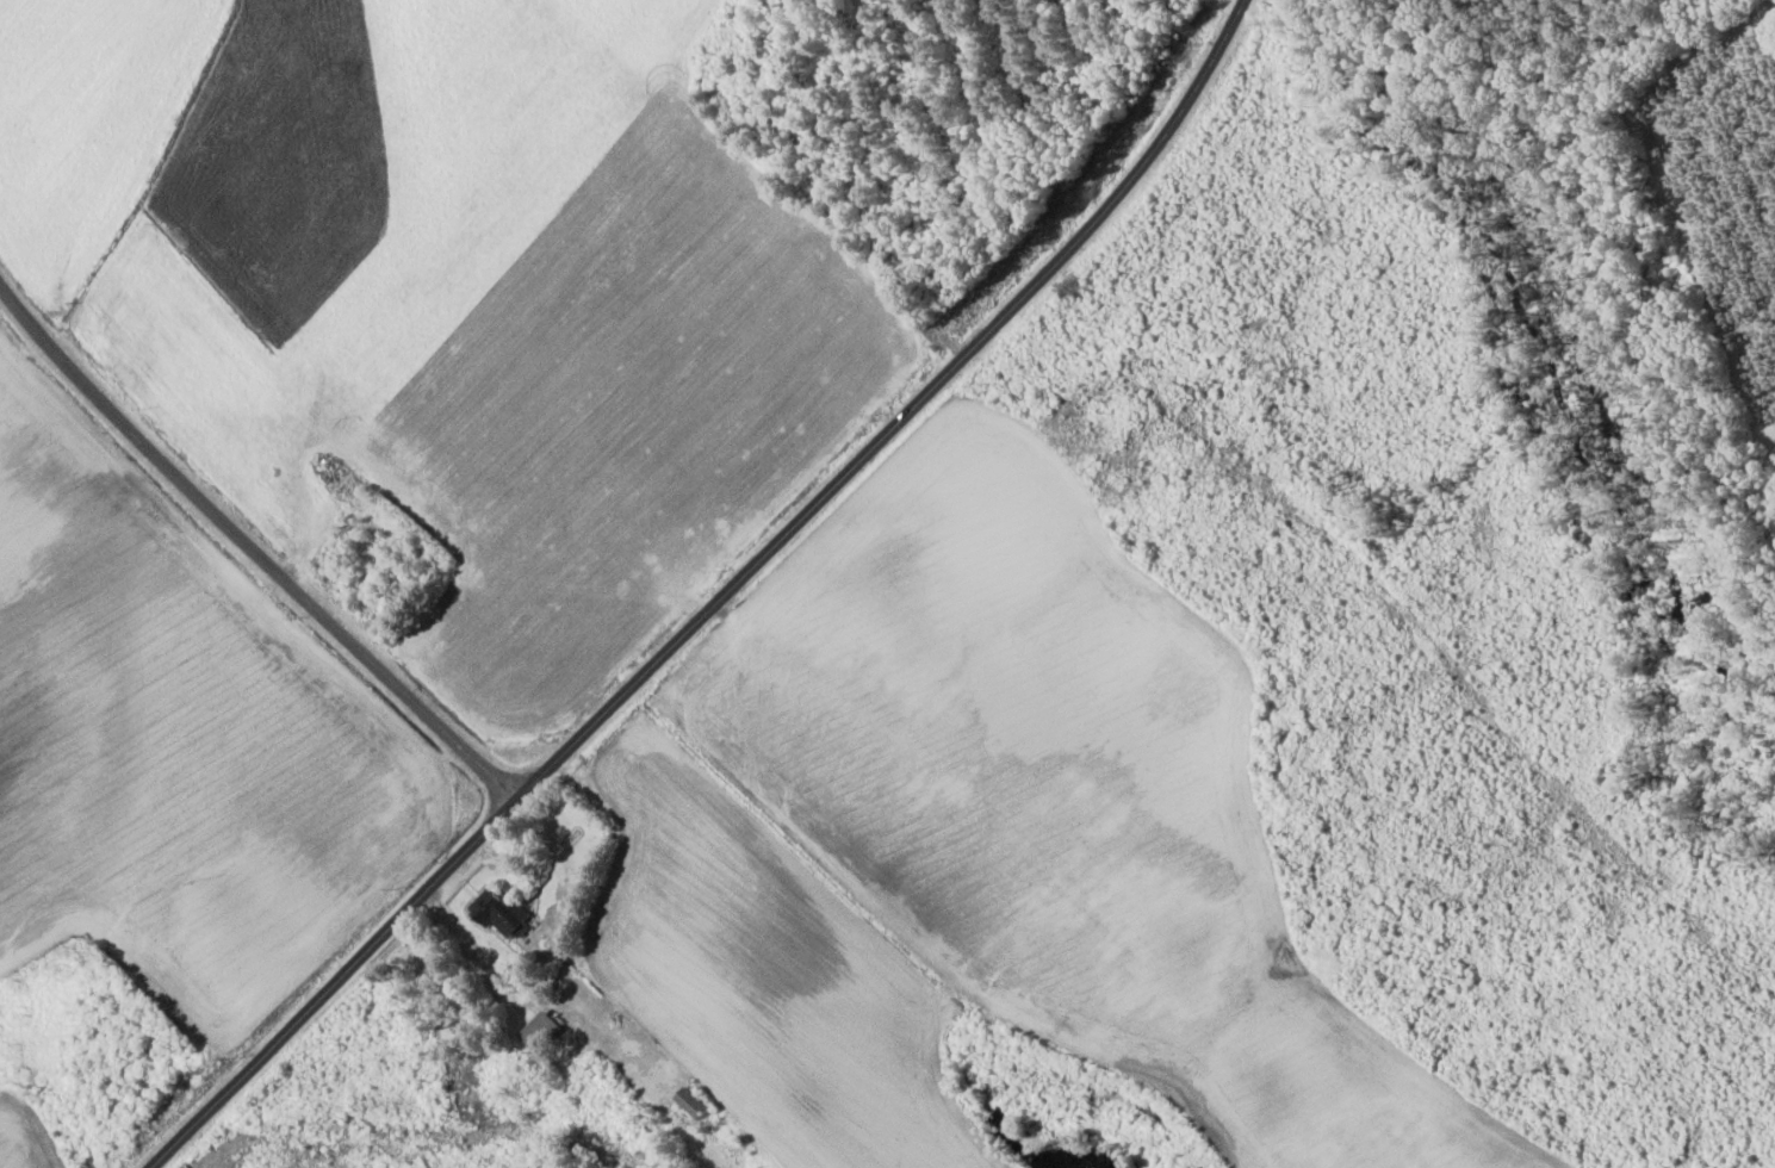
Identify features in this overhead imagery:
road: (254, 549)
road: (715, 598)
building: (499, 913)
building: (540, 1030)

